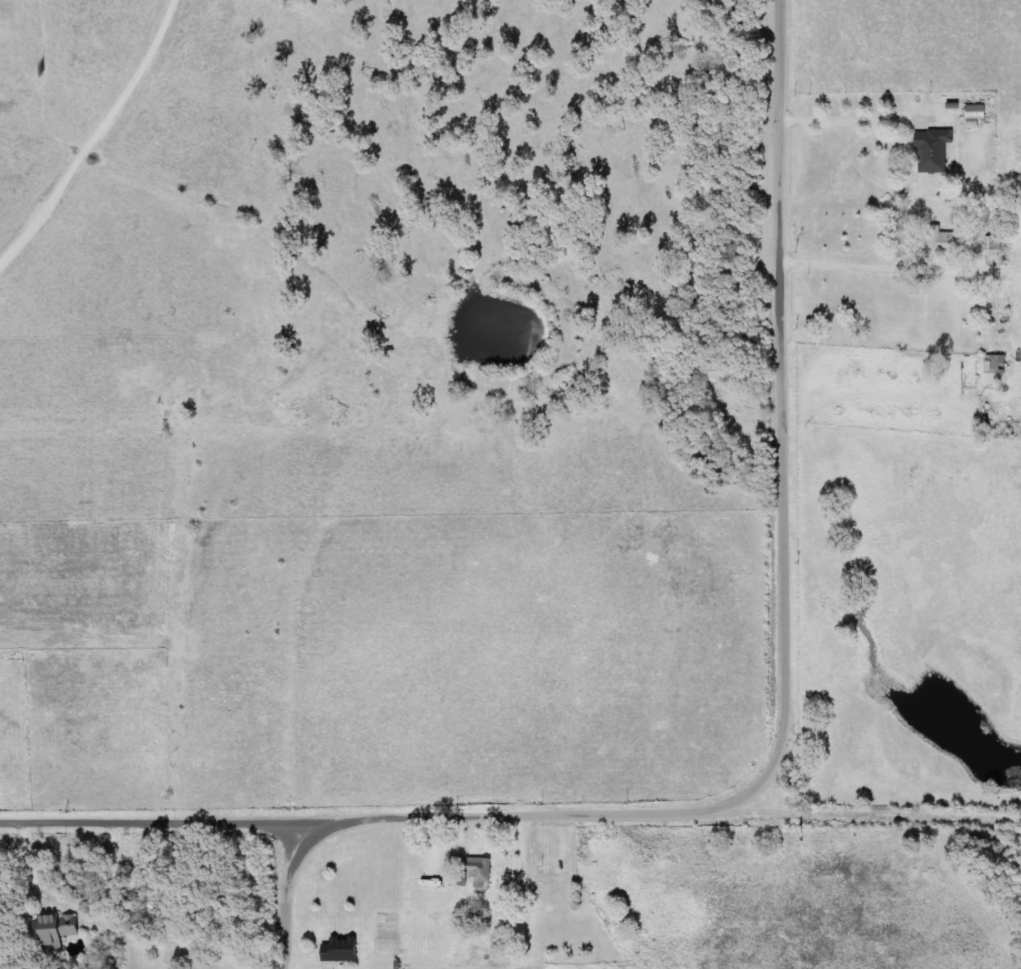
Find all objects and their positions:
building: (977, 112)
building: (934, 150)
building: (953, 240)
building: (1000, 361)
road: (792, 688)
road: (195, 818)
building: (478, 870)
building: (52, 931)
building: (340, 950)

